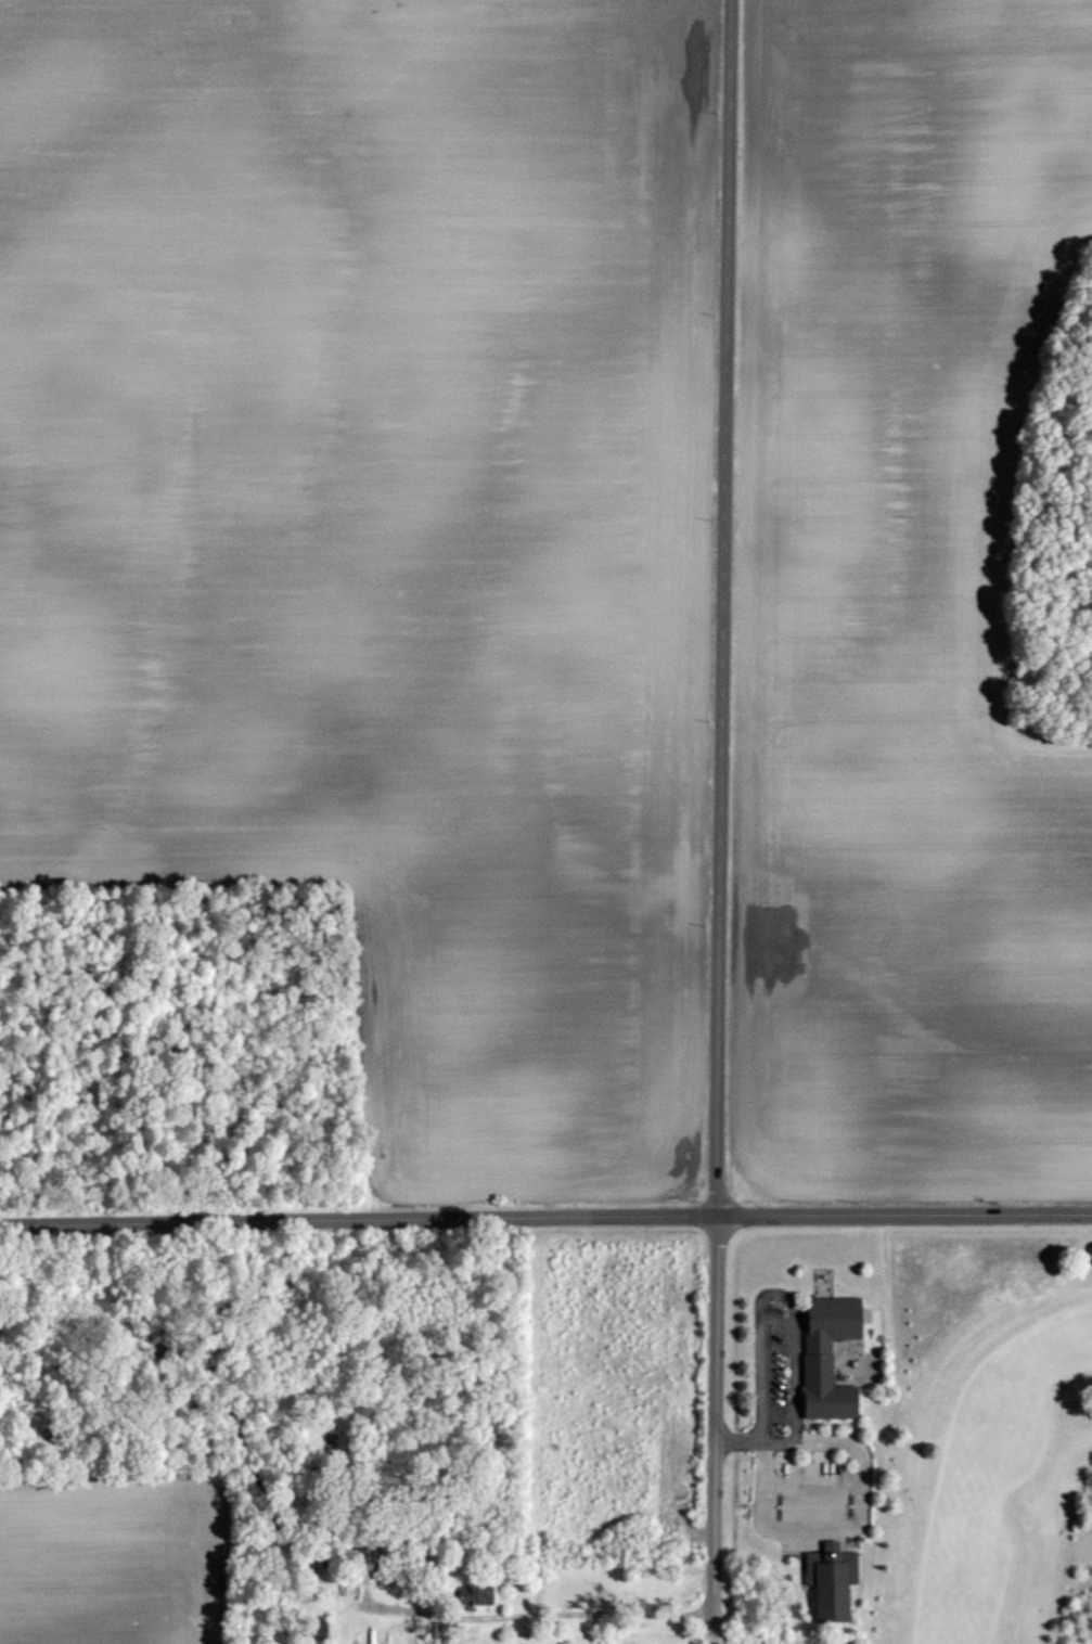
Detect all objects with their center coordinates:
road: (720, 821)
road: (545, 1217)
building: (824, 1352)
road: (756, 1441)
park: (971, 1455)
road: (838, 1527)
building: (826, 1582)
building: (470, 1595)
road: (540, 1613)
building: (321, 1628)
building: (432, 1629)

